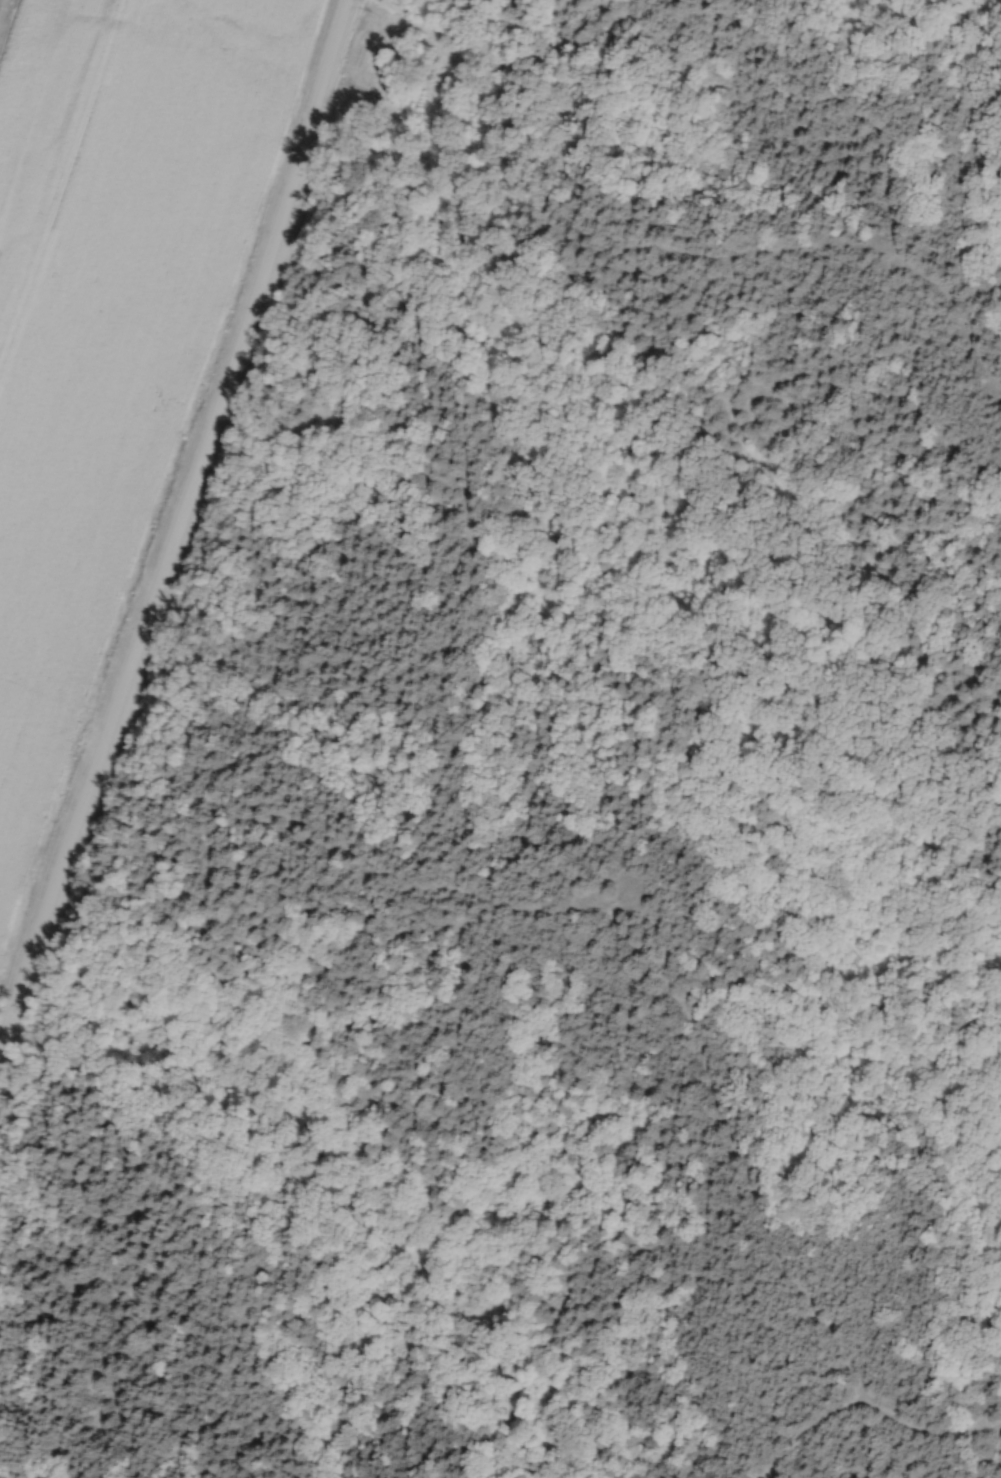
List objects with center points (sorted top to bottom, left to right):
road: (181, 528)

